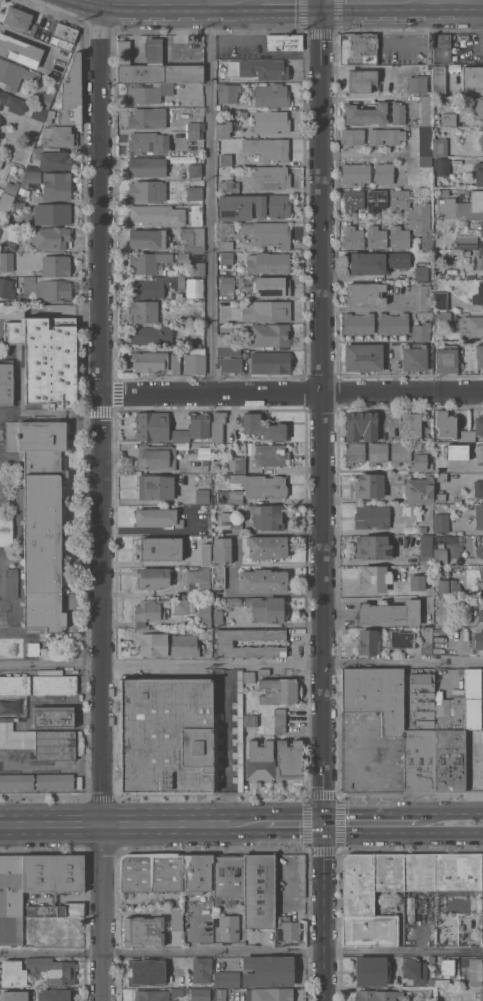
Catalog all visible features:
road: (359, 1)
road: (439, 1)
road: (175, 2)
road: (287, 2)
traffic signals: (323, 2)
building: (17, 17)
building: (64, 35)
building: (284, 42)
building: (441, 48)
building: (358, 49)
building: (20, 51)
building: (159, 68)
building: (259, 69)
building: (399, 71)
building: (15, 75)
building: (472, 77)
building: (438, 79)
building: (360, 80)
building: (417, 84)
building: (228, 92)
building: (71, 93)
building: (149, 93)
building: (271, 95)
building: (45, 98)
building: (13, 102)
building: (478, 108)
building: (426, 110)
building: (39, 113)
building: (243, 113)
building: (365, 113)
building: (398, 113)
building: (147, 117)
building: (448, 119)
building: (271, 121)
building: (195, 126)
building: (224, 129)
building: (194, 134)
building: (58, 136)
building: (352, 136)
building: (385, 136)
building: (425, 140)
building: (147, 142)
building: (481, 142)
building: (440, 147)
building: (267, 149)
building: (5, 155)
building: (226, 159)
building: (425, 160)
building: (55, 161)
building: (1, 163)
building: (147, 166)
building: (441, 166)
building: (32, 168)
building: (195, 170)
building: (355, 173)
building: (384, 173)
building: (479, 173)
building: (270, 177)
building: (30, 178)
building: (56, 186)
building: (221, 186)
building: (232, 186)
building: (11, 187)
building: (147, 191)
building: (443, 191)
building: (195, 193)
road: (208, 198)
building: (353, 200)
building: (375, 200)
building: (398, 200)
building: (6, 201)
building: (476, 201)
building: (19, 206)
building: (272, 209)
building: (52, 213)
building: (157, 214)
building: (196, 215)
building: (421, 223)
building: (0, 227)
building: (480, 228)
building: (269, 233)
building: (51, 237)
building: (354, 237)
building: (376, 237)
building: (399, 237)
building: (147, 238)
building: (193, 238)
building: (467, 241)
building: (227, 245)
building: (7, 246)
building: (183, 258)
building: (479, 260)
building: (6, 261)
building: (148, 262)
building: (226, 262)
building: (267, 262)
building: (376, 262)
building: (55, 265)
building: (198, 268)
building: (422, 270)
building: (179, 272)
building: (227, 282)
building: (154, 286)
building: (270, 286)
building: (6, 288)
building: (45, 288)
building: (365, 293)
building: (478, 295)
building: (425, 297)
building: (440, 300)
building: (143, 311)
building: (267, 311)
building: (426, 314)
building: (444, 318)
building: (358, 323)
building: (393, 323)
building: (475, 326)
building: (421, 331)
building: (150, 334)
building: (271, 335)
building: (224, 339)
building: (197, 344)
building: (229, 351)
building: (479, 355)
building: (363, 356)
building: (414, 357)
building: (446, 358)
building: (47, 359)
building: (195, 361)
building: (155, 362)
building: (270, 362)
building: (230, 365)
building: (6, 382)
road: (292, 394)
road: (323, 412)
building: (445, 424)
building: (361, 425)
building: (410, 425)
building: (479, 425)
building: (153, 426)
building: (218, 426)
building: (263, 427)
building: (193, 428)
building: (465, 435)
building: (377, 452)
building: (400, 452)
building: (478, 452)
building: (354, 453)
building: (205, 455)
building: (270, 455)
building: (156, 457)
building: (421, 460)
building: (206, 462)
building: (443, 464)
building: (237, 465)
building: (441, 476)
building: (397, 478)
building: (261, 485)
building: (369, 485)
building: (155, 487)
building: (478, 488)
building: (419, 490)
building: (202, 495)
building: (230, 496)
building: (440, 497)
road: (102, 500)
road: (370, 500)
building: (372, 516)
building: (479, 516)
building: (157, 517)
building: (225, 517)
building: (268, 517)
building: (41, 518)
building: (441, 522)
building: (6, 530)
road: (155, 530)
building: (267, 546)
building: (480, 546)
building: (374, 547)
building: (159, 548)
building: (427, 550)
building: (222, 551)
building: (440, 553)
building: (206, 555)
road: (279, 562)
building: (218, 576)
building: (152, 578)
building: (375, 579)
building: (199, 580)
building: (263, 581)
building: (11, 582)
building: (417, 582)
building: (480, 583)
building: (447, 584)
road: (361, 598)
building: (234, 601)
building: (181, 606)
building: (266, 609)
building: (148, 611)
building: (480, 612)
building: (390, 613)
building: (204, 615)
building: (218, 616)
building: (400, 639)
building: (426, 640)
building: (478, 640)
building: (151, 641)
building: (369, 641)
building: (188, 642)
building: (225, 643)
building: (33, 648)
road: (213, 662)
road: (403, 662)
road: (51, 663)
building: (263, 671)
building: (249, 676)
building: (53, 682)
building: (15, 684)
building: (279, 691)
building: (376, 696)
building: (473, 700)
building: (54, 716)
building: (250, 720)
building: (279, 720)
building: (238, 732)
building: (166, 734)
building: (420, 735)
road: (358, 737)
building: (39, 741)
road: (226, 743)
building: (450, 748)
building: (216, 750)
building: (274, 760)
building: (54, 780)
building: (16, 781)
road: (452, 811)
road: (389, 812)
road: (341, 818)
road: (295, 824)
traffic signals: (326, 824)
road: (132, 825)
road: (403, 832)
building: (419, 871)
building: (458, 871)
building: (152, 872)
building: (197, 873)
building: (228, 876)
building: (53, 882)
building: (482, 883)
building: (259, 891)
building: (370, 897)
building: (10, 899)
road: (326, 912)
building: (177, 919)
building: (229, 928)
building: (55, 930)
building: (290, 930)
building: (143, 931)
road: (241, 950)
building: (447, 967)
building: (53, 969)
building: (202, 970)
building: (268, 970)
building: (146, 971)
building: (372, 971)
building: (415, 971)
building: (475, 971)
building: (13, 973)
building: (227, 979)
building: (442, 982)
building: (177, 991)
building: (56, 994)
building: (200, 994)
building: (269, 994)
building: (480, 994)
building: (14, 995)
building: (152, 995)
building: (378, 995)
building: (220, 997)

